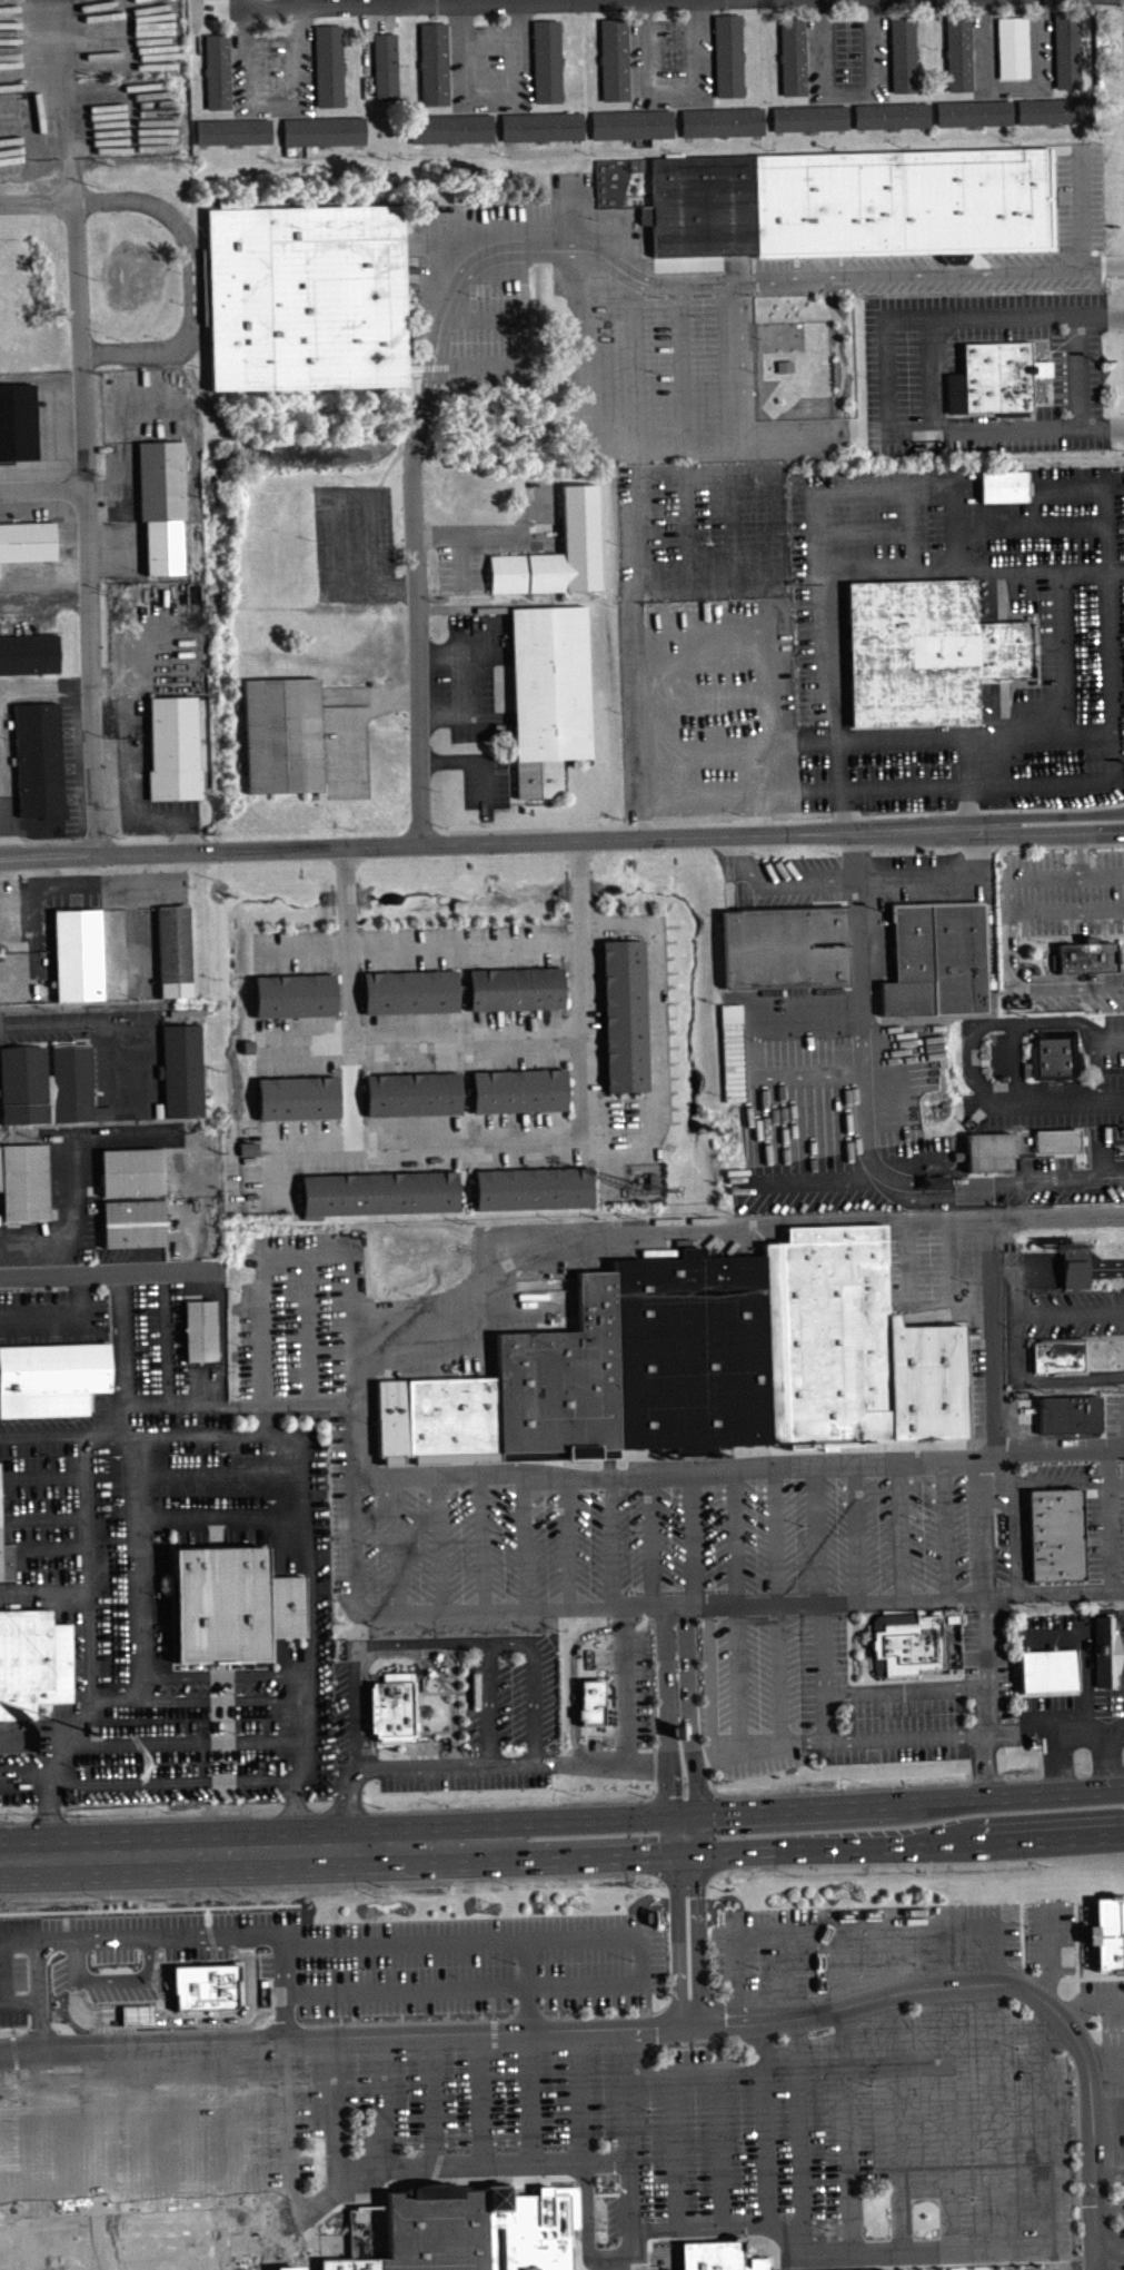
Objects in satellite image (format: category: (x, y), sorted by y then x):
road: (366, 2)
road: (1123, 14)
building: (1065, 49)
building: (957, 50)
building: (902, 52)
building: (1012, 52)
building: (669, 53)
building: (727, 54)
building: (792, 56)
building: (847, 56)
road: (973, 57)
building: (488, 58)
building: (614, 58)
road: (887, 59)
building: (546, 60)
road: (710, 61)
road: (807, 61)
building: (432, 62)
building: (327, 65)
building: (385, 66)
road: (629, 66)
road: (530, 67)
road: (448, 68)
building: (217, 70)
building: (270, 70)
road: (312, 71)
road: (230, 76)
road: (1012, 83)
road: (848, 91)
road: (672, 95)
road: (1071, 95)
road: (490, 98)
road: (272, 107)
road: (664, 107)
building: (1055, 109)
building: (973, 112)
building: (891, 113)
building: (808, 117)
building: (722, 120)
building: (630, 122)
building: (540, 125)
building: (450, 127)
building: (232, 130)
building: (322, 130)
road: (37, 202)
building: (852, 202)
road: (1080, 207)
building: (645, 220)
road: (505, 250)
road: (1096, 264)
road: (496, 270)
road: (911, 275)
road: (188, 284)
building: (307, 297)
road: (485, 318)
parking lot: (491, 331)
road: (633, 364)
road: (727, 364)
road: (680, 366)
road: (480, 367)
road: (932, 373)
road: (884, 374)
road: (1078, 376)
building: (994, 378)
road: (578, 415)
building: (16, 427)
building: (1002, 485)
road: (42, 490)
building: (160, 508)
building: (580, 518)
road: (86, 527)
parking lot: (700, 528)
road: (466, 533)
parking lot: (356, 543)
building: (26, 546)
parking lot: (466, 565)
road: (840, 571)
road: (44, 596)
building: (925, 650)
road: (440, 652)
road: (417, 656)
building: (28, 658)
parking lot: (469, 673)
road: (466, 683)
road: (44, 685)
road: (381, 696)
building: (547, 700)
parking lot: (707, 705)
road: (1064, 705)
road: (442, 714)
building: (280, 740)
parking lot: (346, 741)
road: (347, 745)
road: (1113, 751)
building: (172, 752)
road: (451, 760)
building: (38, 764)
parking lot: (485, 780)
road: (485, 780)
road: (887, 791)
road: (726, 799)
road: (1061, 814)
road: (756, 815)
road: (778, 820)
road: (2, 825)
road: (708, 833)
road: (1060, 834)
road: (209, 850)
road: (1080, 854)
road: (175, 864)
road: (130, 865)
road: (76, 868)
road: (34, 870)
road: (1102, 873)
road: (105, 880)
road: (941, 882)
road: (775, 883)
parking lot: (1067, 890)
road: (1009, 910)
road: (36, 911)
road: (418, 946)
building: (784, 946)
building: (81, 953)
building: (173, 955)
building: (1084, 956)
building: (936, 958)
road: (1034, 981)
road: (579, 990)
building: (514, 993)
road: (346, 995)
parking lot: (1076, 995)
building: (292, 1000)
building: (621, 1020)
road: (92, 1022)
road: (425, 1043)
building: (1055, 1052)
road: (969, 1061)
road: (1014, 1061)
building: (181, 1075)
building: (48, 1084)
road: (1040, 1084)
parking lot: (1060, 1091)
building: (516, 1096)
building: (410, 1099)
building: (296, 1102)
road: (863, 1136)
building: (1055, 1139)
road: (462, 1143)
building: (989, 1151)
building: (248, 1153)
building: (131, 1171)
building: (24, 1181)
building: (531, 1187)
building: (927, 1188)
building: (378, 1192)
building: (133, 1222)
road: (727, 1229)
road: (356, 1258)
building: (1074, 1266)
road: (102, 1272)
road: (1105, 1273)
road: (1025, 1275)
road: (1074, 1275)
road: (1016, 1293)
road: (931, 1301)
road: (1070, 1309)
parking lot: (1075, 1311)
road: (61, 1316)
parking lot: (305, 1317)
building: (815, 1329)
building: (199, 1330)
road: (991, 1337)
parking lot: (149, 1345)
building: (692, 1351)
building: (872, 1351)
building: (1057, 1356)
building: (52, 1377)
road: (1036, 1378)
building: (926, 1380)
building: (563, 1381)
road: (287, 1404)
road: (146, 1406)
building: (1068, 1414)
building: (394, 1418)
building: (455, 1418)
road: (131, 1419)
road: (90, 1435)
road: (357, 1439)
road: (213, 1445)
road: (742, 1467)
road: (43, 1475)
road: (1116, 1477)
road: (1061, 1480)
parking lot: (348, 1504)
road: (1110, 1516)
road: (276, 1517)
road: (1015, 1517)
parking lot: (1095, 1517)
road: (46, 1518)
parking lot: (156, 1521)
road: (946, 1528)
road: (902, 1530)
road: (856, 1531)
road: (818, 1533)
road: (776, 1534)
building: (1055, 1534)
road: (735, 1536)
road: (525, 1537)
road: (690, 1537)
road: (441, 1539)
road: (484, 1539)
road: (569, 1539)
road: (650, 1539)
road: (398, 1540)
road: (611, 1540)
parking lot: (678, 1540)
road: (51, 1546)
building: (7, 1560)
road: (985, 1573)
road: (43, 1595)
road: (678, 1605)
building: (235, 1608)
parking lot: (1052, 1627)
road: (311, 1635)
building: (907, 1643)
road: (822, 1647)
road: (1083, 1647)
road: (361, 1649)
building: (1104, 1651)
road: (399, 1652)
road: (441, 1653)
parking lot: (989, 1668)
building: (1047, 1669)
building: (31, 1672)
road: (779, 1673)
road: (570, 1676)
road: (220, 1682)
road: (628, 1684)
road: (903, 1688)
parking lot: (819, 1699)
parking lot: (629, 1701)
building: (589, 1702)
road: (207, 1706)
building: (391, 1708)
parking lot: (344, 1714)
parking lot: (1074, 1715)
parking lot: (493, 1727)
road: (1054, 1729)
road: (679, 1731)
flagpole: (98, 1733)
parking lot: (197, 1736)
road: (894, 1737)
road: (229, 1745)
road: (533, 1745)
road: (724, 1748)
road: (1107, 1758)
road: (1058, 1762)
road: (607, 1763)
parking lot: (19, 1777)
road: (170, 1781)
road: (50, 1792)
road: (737, 1815)
traffic signals: (684, 1818)
road: (737, 1852)
road: (175, 1853)
traffic signals: (685, 1856)
building: (1107, 1932)
road: (954, 1933)
road: (282, 1934)
parking lot: (1019, 1934)
road: (699, 1937)
road: (678, 1939)
road: (995, 1942)
parking lot: (823, 1947)
road: (1051, 1950)
road: (643, 1959)
parking lot: (318, 1963)
road: (51, 1967)
road: (2, 1970)
building: (207, 1984)
road: (20, 1999)
parking lot: (1102, 2001)
road: (1091, 2004)
road: (654, 2024)
road: (1103, 2046)
road: (530, 2049)
road: (697, 2066)
road: (1106, 2085)
road: (847, 2089)
road: (895, 2089)
road: (797, 2091)
road: (629, 2093)
road: (578, 2095)
road: (430, 2100)
road: (483, 2100)
road: (386, 2101)
parking lot: (1113, 2101)
road: (336, 2112)
road: (994, 2115)
road: (1107, 2123)
road: (42, 2127)
parking lot: (924, 2138)
parking lot: (149, 2144)
road: (238, 2145)
road: (722, 2145)
road: (191, 2147)
road: (143, 2148)
road: (674, 2148)
road: (95, 2149)
road: (505, 2163)
road: (1108, 2209)
parking lot: (1117, 2213)
building: (436, 2228)
building: (527, 2230)
road: (1110, 2241)
road: (1046, 2246)
road: (1096, 2252)
building: (717, 2254)
building: (352, 2258)
road: (1111, 2261)
building: (245, 2262)
building: (934, 2262)
road: (1097, 2266)
parking lot: (1035, 2268)
building: (290, 2269)

